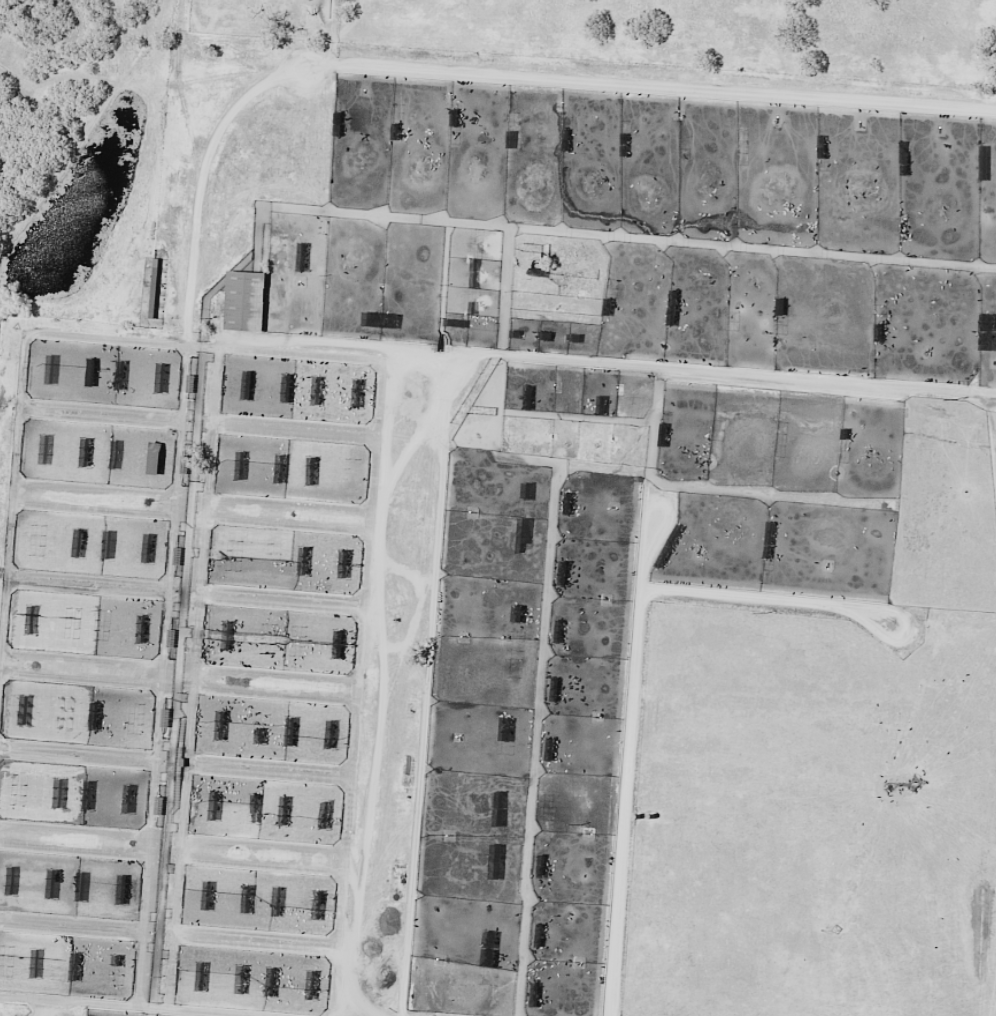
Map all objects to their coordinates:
road: (228, 60)
road: (181, 93)
road: (197, 163)
building: (245, 300)
building: (781, 315)
building: (879, 323)
building: (987, 331)
road: (372, 349)
building: (317, 394)
power tower: (959, 398)
road: (428, 409)
building: (718, 426)
road: (201, 430)
building: (154, 458)
road: (195, 502)
building: (526, 515)
building: (39, 540)
building: (79, 542)
road: (188, 593)
power tower: (767, 613)
building: (73, 623)
building: (102, 624)
road: (184, 678)
road: (368, 683)
road: (631, 685)
road: (424, 703)
building: (25, 710)
building: (66, 711)
building: (95, 715)
building: (135, 717)
building: (221, 725)
building: (261, 728)
road: (179, 765)
building: (60, 791)
power tower: (582, 821)
road: (176, 850)
building: (13, 880)
building: (123, 889)
building: (208, 895)
building: (277, 901)
building: (319, 905)
road: (173, 928)
building: (202, 976)
road: (68, 999)
road: (39, 1006)
road: (205, 1010)

